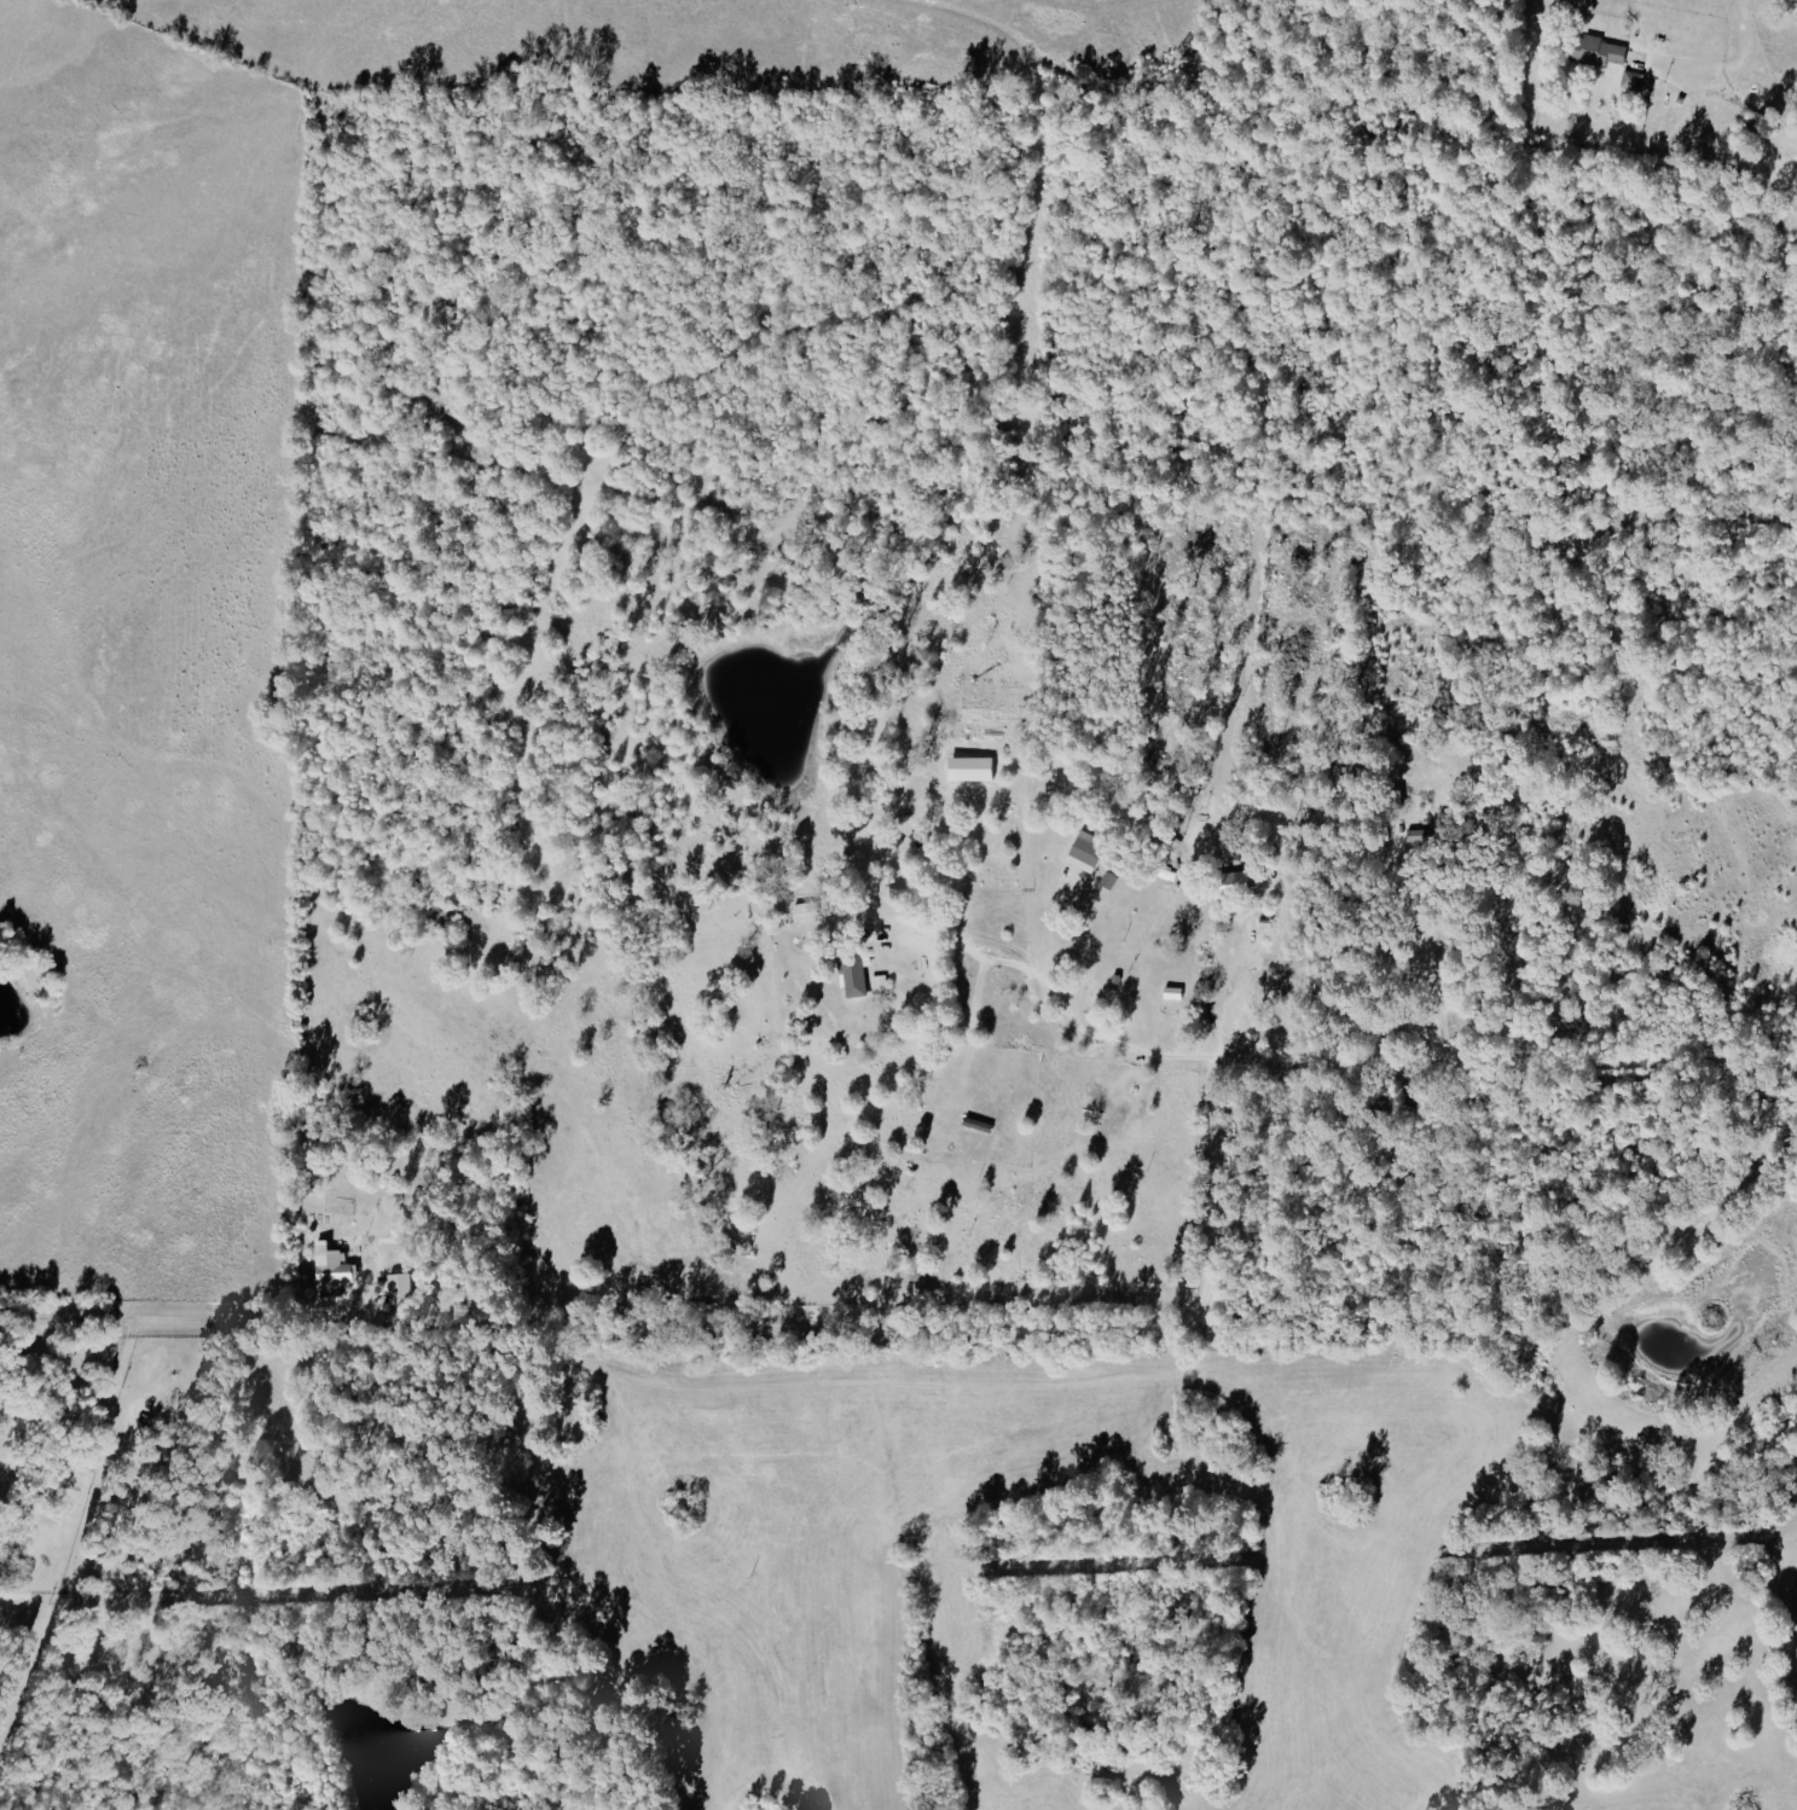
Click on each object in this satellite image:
building: (1595, 52)
building: (1630, 82)
building: (968, 767)
building: (1420, 835)
building: (1084, 851)
building: (1107, 880)
building: (1233, 881)
building: (804, 912)
building: (851, 974)
road: (1229, 984)
building: (330, 1270)
building: (394, 1287)
road: (1030, 1318)

